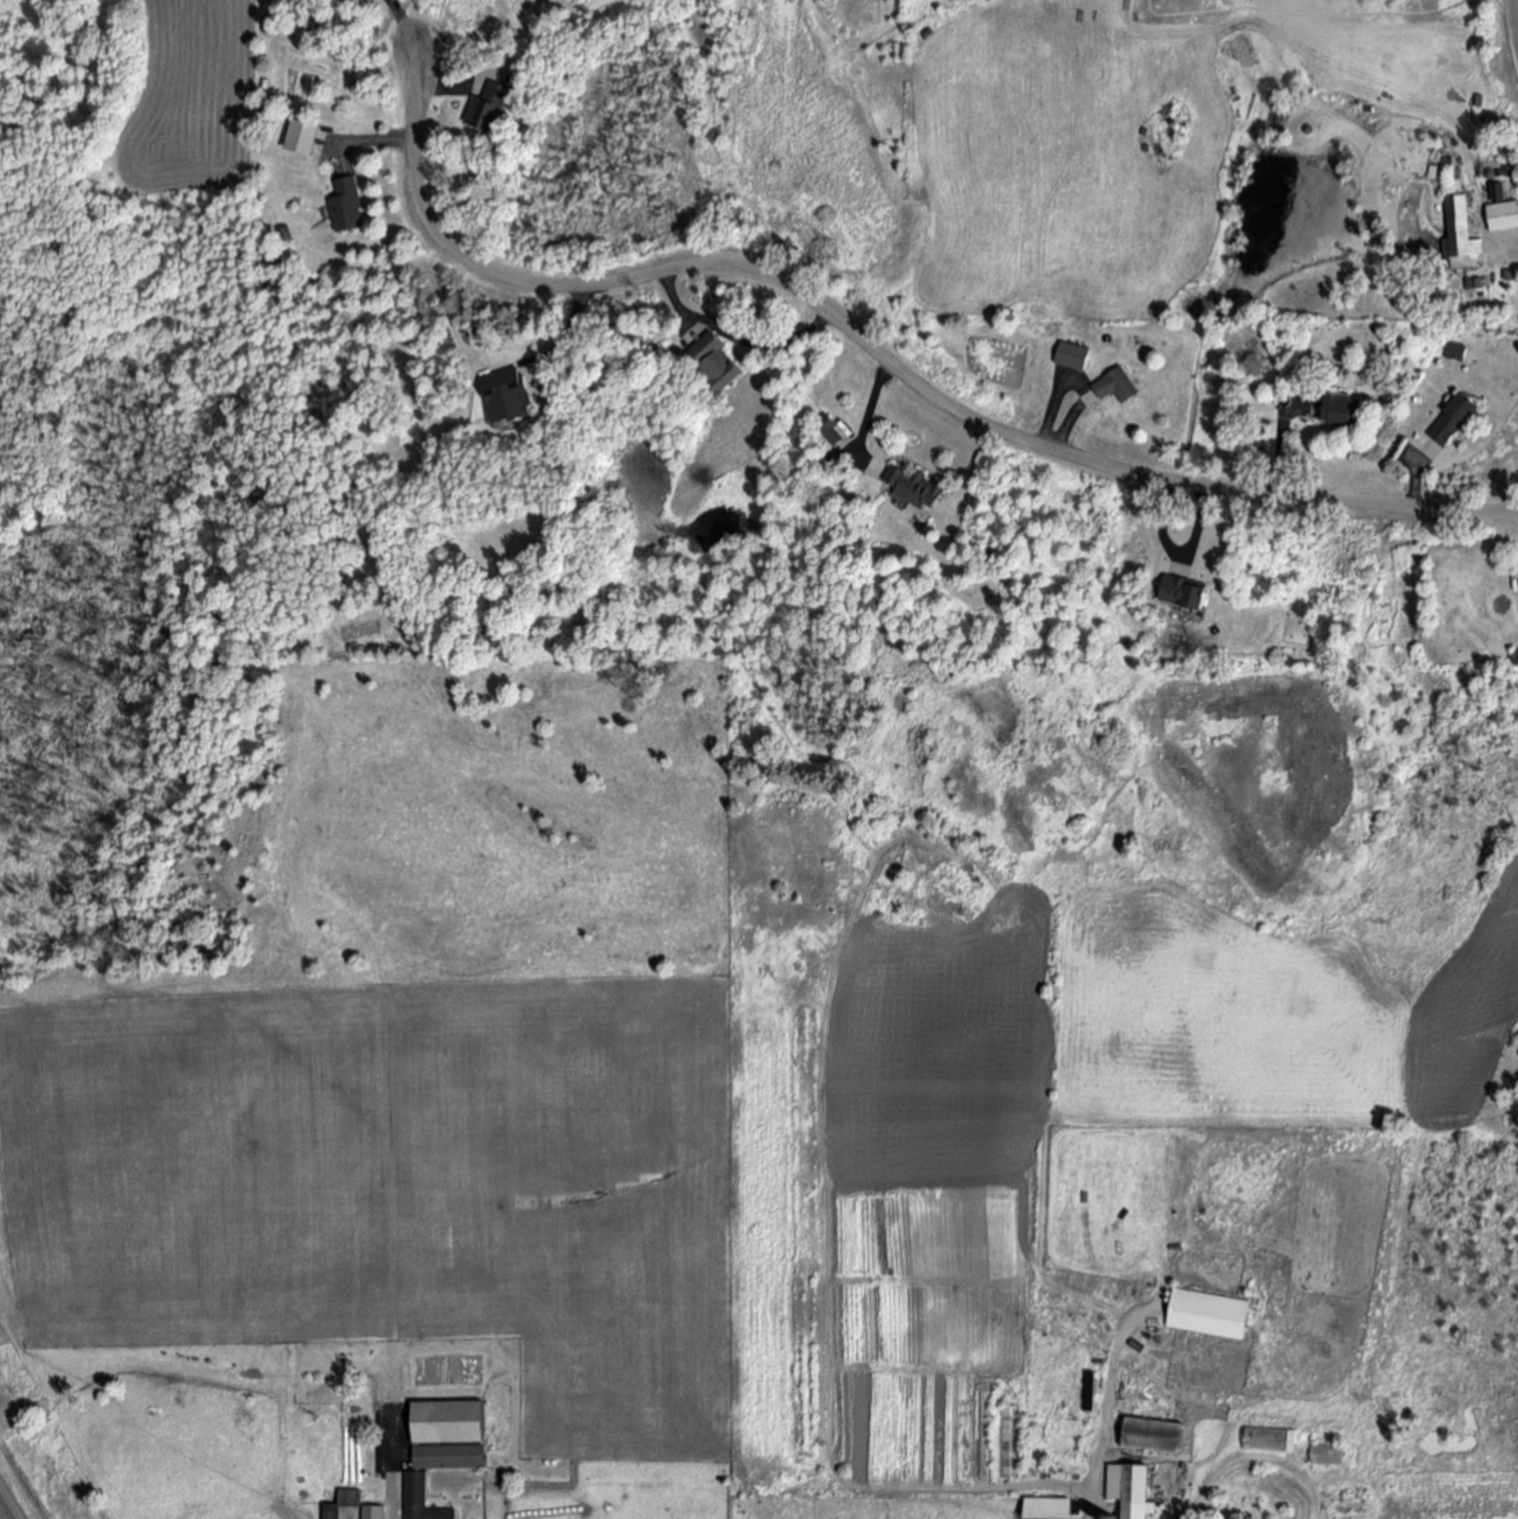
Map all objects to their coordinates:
road: (1515, 19)
road: (401, 27)
road: (507, 31)
building: (487, 109)
building: (302, 137)
building: (346, 203)
building: (1502, 209)
building: (1461, 232)
road: (1515, 240)
road: (737, 337)
building: (1455, 352)
road: (881, 353)
building: (1072, 357)
building: (715, 363)
building: (1116, 386)
building: (507, 396)
building: (1341, 412)
building: (1453, 420)
building: (835, 429)
building: (911, 488)
building: (1179, 592)
building: (1210, 1313)
building: (446, 1436)
building: (1151, 1436)
building: (1009, 1443)
building: (1325, 1455)
road: (1226, 1471)
building: (1128, 1490)
building: (419, 1500)
road: (7, 1504)
building: (1346, 1505)
building: (1047, 1509)
building: (330, 1512)
building: (372, 1513)

